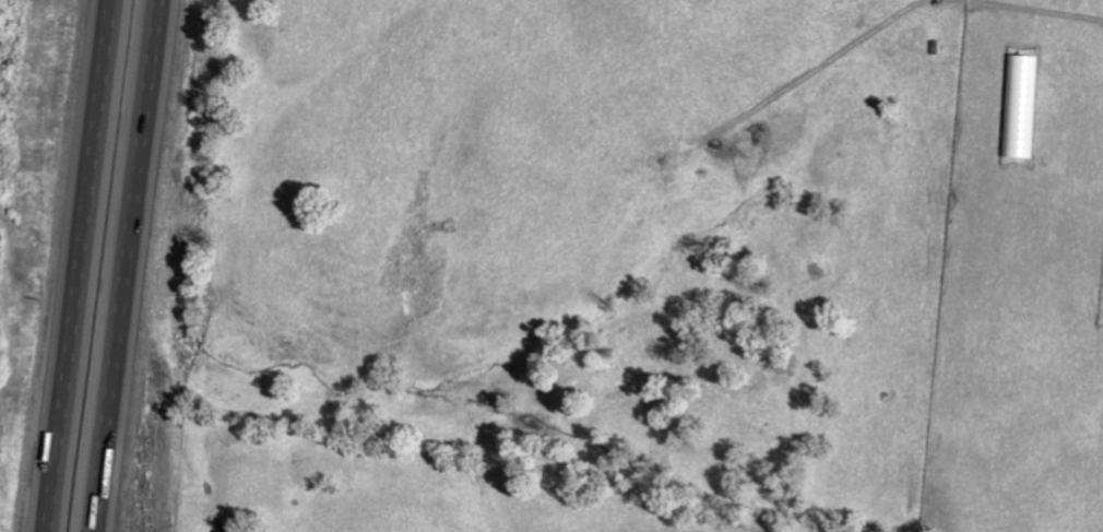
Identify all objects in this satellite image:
road: (1078, 20)
road: (80, 265)
road: (126, 265)

